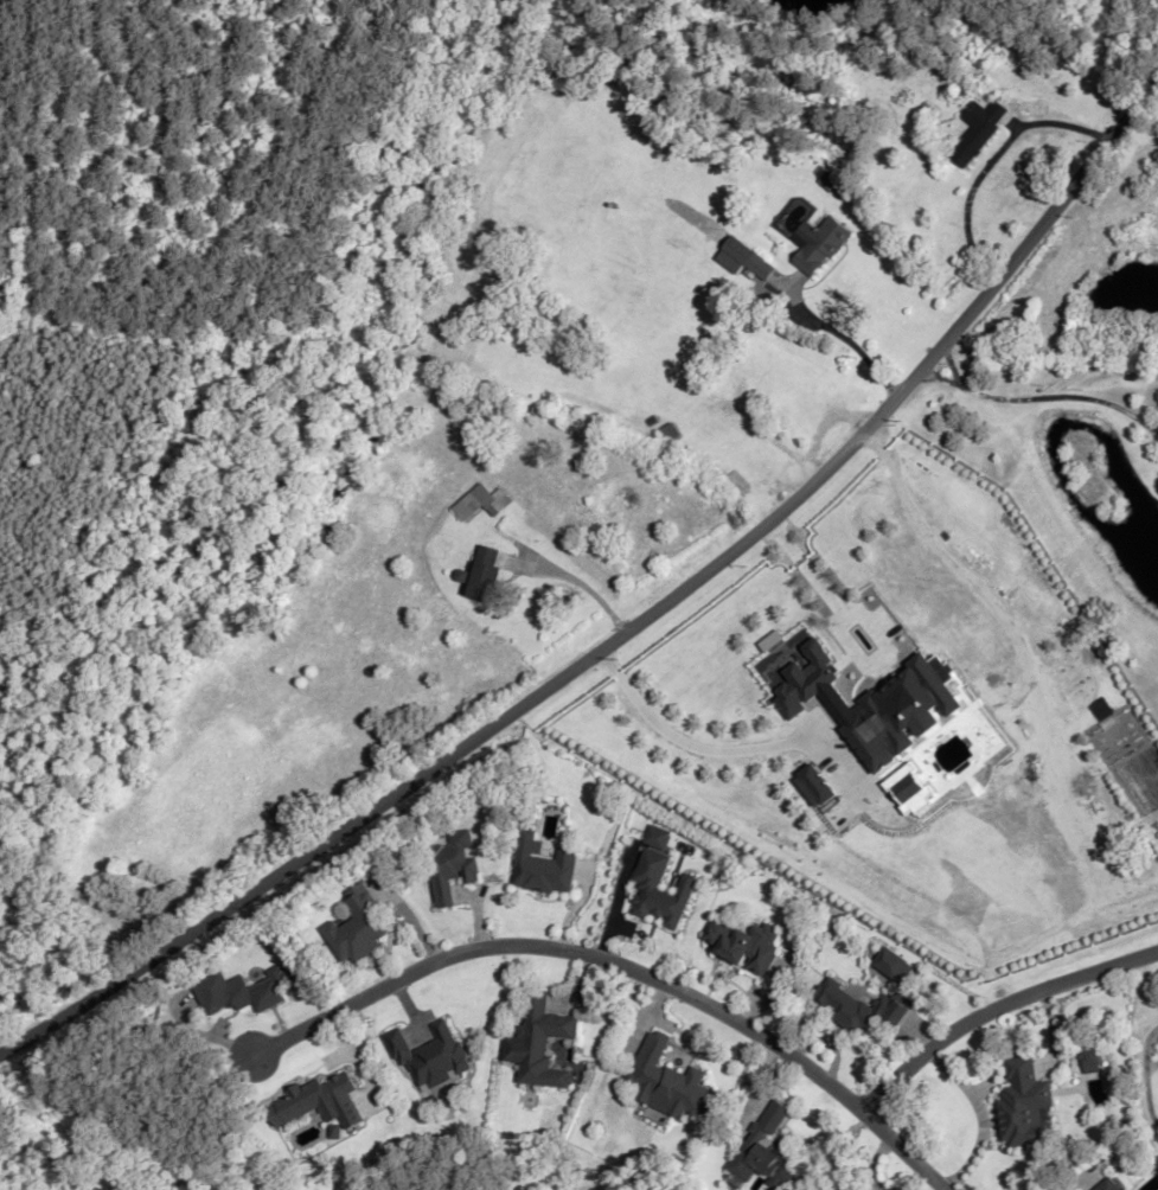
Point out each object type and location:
building: (974, 130)
building: (843, 141)
building: (814, 244)
building: (740, 257)
road: (843, 338)
road: (951, 383)
road: (1057, 399)
building: (666, 431)
building: (480, 501)
road: (895, 508)
building: (481, 574)
road: (578, 586)
building: (913, 610)
road: (631, 626)
building: (449, 865)
building: (540, 865)
building: (657, 882)
building: (354, 926)
building: (741, 943)
road: (619, 966)
building: (239, 990)
building: (857, 1006)
road: (994, 1007)
building: (537, 1042)
building: (426, 1054)
building: (1087, 1056)
building: (664, 1081)
building: (316, 1102)
building: (1022, 1106)
building: (763, 1150)
building: (1106, 1185)

